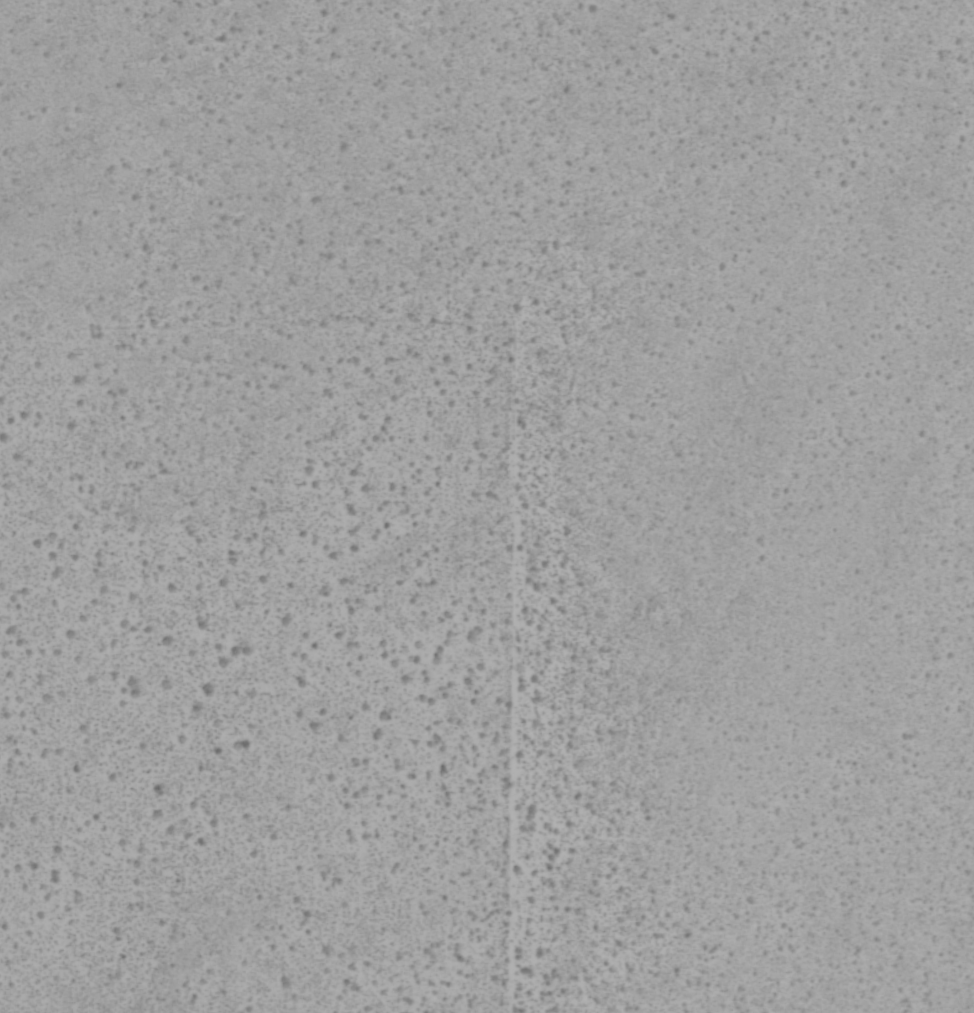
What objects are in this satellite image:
airport: (487, 506)

